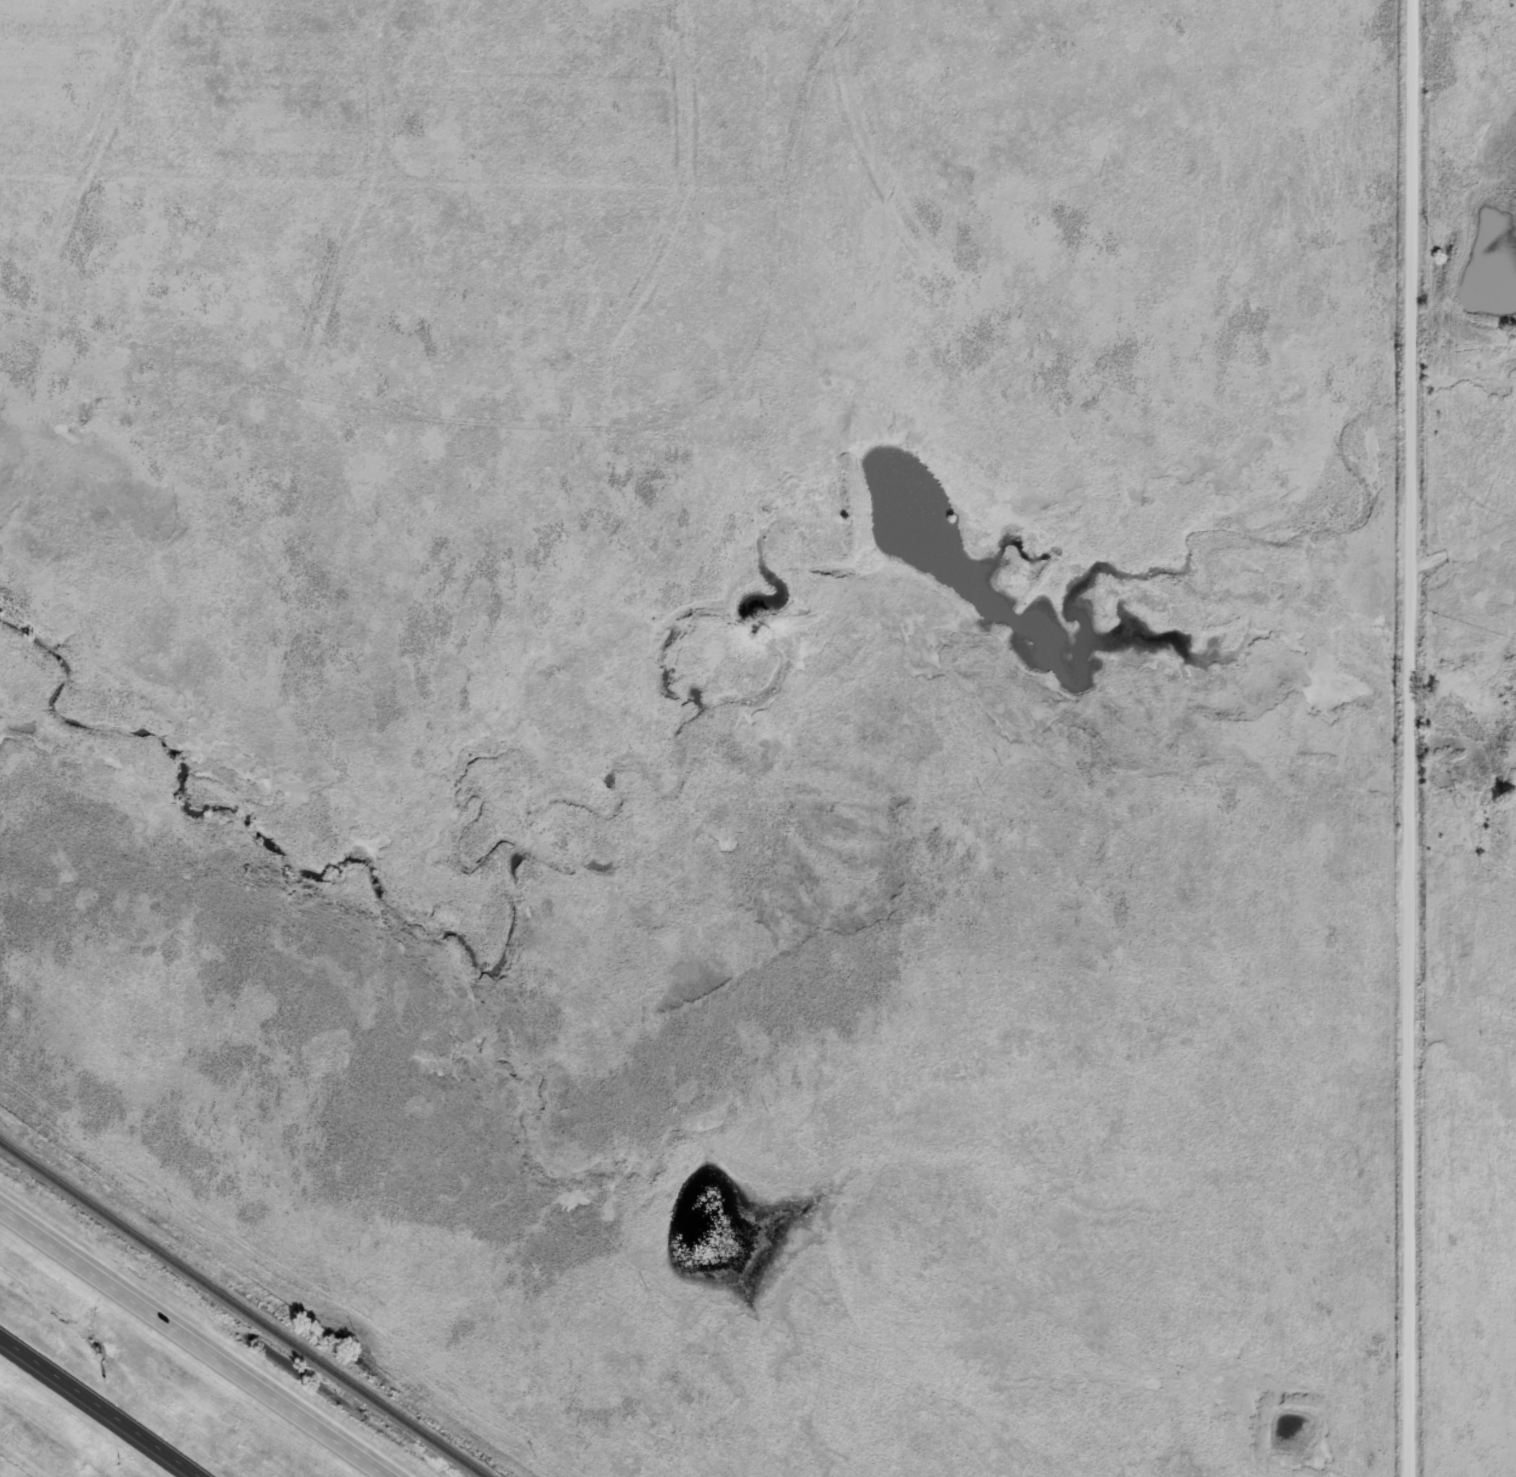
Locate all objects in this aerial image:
road: (1412, 738)
railway: (241, 1311)
road: (198, 1339)
road: (102, 1403)

